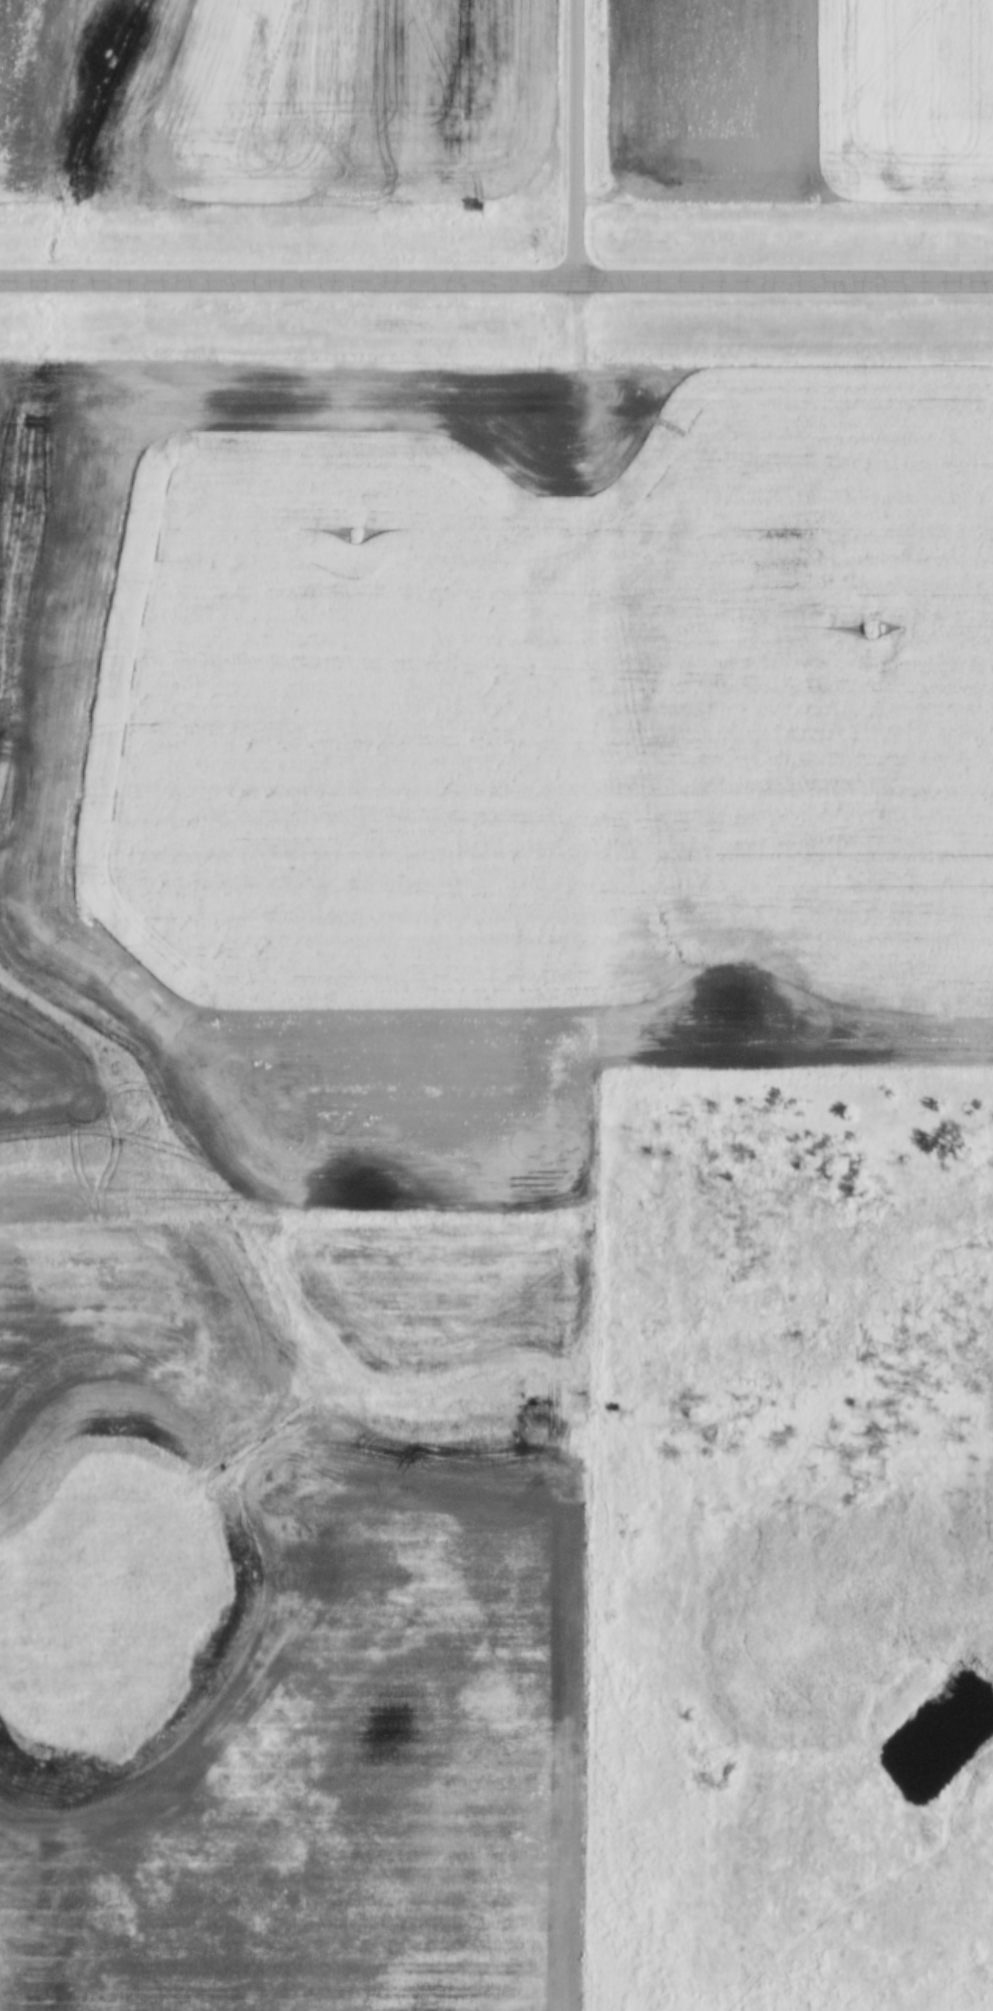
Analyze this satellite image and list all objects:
building: (276, 31)
crop: (800, 101)
crop: (274, 103)
road: (579, 142)
road: (496, 283)
power tower: (355, 534)
power tower: (872, 628)
crop: (471, 762)
crop: (115, 1328)
crop: (325, 1853)

